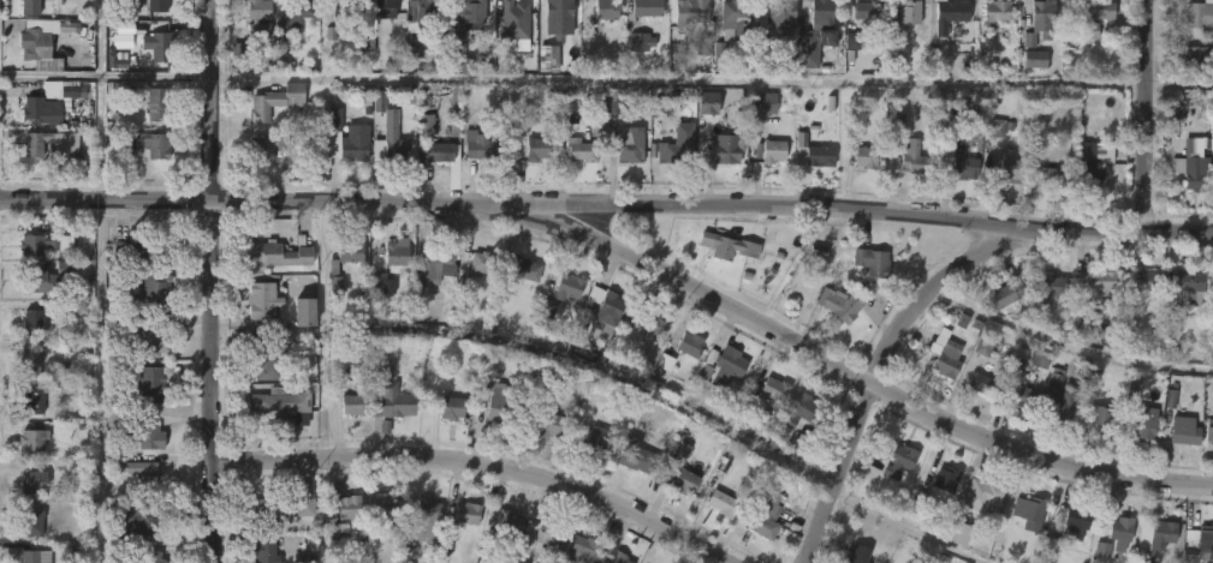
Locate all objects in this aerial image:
building: (159, 6)
building: (31, 7)
building: (648, 7)
building: (340, 8)
building: (561, 8)
building: (608, 10)
building: (295, 11)
building: (468, 11)
building: (995, 11)
building: (689, 12)
building: (424, 13)
building: (780, 13)
building: (908, 13)
building: (1201, 13)
building: (258, 14)
building: (868, 14)
building: (950, 14)
building: (1093, 17)
building: (374, 18)
building: (516, 19)
building: (733, 19)
building: (1040, 20)
building: (816, 32)
building: (329, 34)
building: (123, 36)
building: (46, 40)
building: (852, 41)
building: (641, 42)
building: (159, 46)
building: (702, 46)
building: (720, 52)
building: (1035, 59)
building: (1196, 61)
building: (785, 64)
building: (464, 65)
building: (896, 65)
road: (684, 80)
road: (1182, 83)
building: (49, 101)
building: (379, 101)
building: (614, 101)
building: (275, 102)
building: (763, 102)
building: (157, 103)
building: (707, 103)
building: (570, 112)
road: (1150, 118)
building: (426, 121)
building: (949, 122)
building: (995, 127)
building: (392, 136)
building: (345, 140)
building: (147, 144)
building: (267, 144)
building: (50, 145)
building: (628, 145)
building: (481, 146)
building: (537, 148)
building: (724, 148)
building: (1036, 148)
building: (575, 149)
building: (768, 151)
building: (440, 152)
building: (676, 152)
building: (811, 155)
building: (869, 156)
building: (911, 157)
building: (1088, 164)
building: (968, 167)
building: (1007, 167)
building: (1190, 173)
building: (1051, 175)
road: (607, 202)
building: (46, 244)
building: (726, 246)
building: (143, 248)
building: (347, 252)
building: (284, 253)
building: (396, 254)
building: (441, 254)
building: (869, 260)
building: (483, 264)
building: (525, 269)
building: (1137, 280)
building: (38, 281)
road: (216, 281)
building: (1098, 282)
building: (385, 285)
building: (1052, 286)
building: (1179, 286)
building: (154, 292)
building: (559, 293)
building: (1009, 294)
building: (260, 299)
building: (843, 305)
building: (608, 309)
building: (299, 311)
building: (649, 321)
building: (36, 323)
building: (145, 339)
building: (689, 343)
building: (985, 346)
road: (816, 354)
building: (950, 358)
building: (1040, 358)
building: (30, 359)
building: (268, 359)
road: (890, 360)
building: (665, 363)
building: (707, 365)
building: (726, 365)
building: (151, 382)
building: (985, 384)
building: (66, 388)
building: (772, 388)
building: (1018, 394)
building: (1193, 394)
building: (1056, 396)
building: (34, 401)
building: (391, 401)
building: (278, 402)
building: (352, 403)
building: (498, 403)
building: (454, 408)
building: (804, 415)
building: (1099, 415)
building: (1140, 420)
building: (552, 425)
building: (1184, 430)
building: (148, 432)
building: (1211, 435)
building: (32, 441)
building: (597, 443)
building: (634, 457)
building: (899, 460)
road: (484, 462)
building: (137, 472)
building: (81, 477)
building: (686, 481)
building: (36, 483)
building: (932, 484)
building: (305, 490)
building: (981, 493)
building: (720, 502)
building: (349, 505)
building: (280, 508)
building: (386, 508)
building: (427, 511)
building: (465, 511)
building: (1030, 513)
building: (765, 515)
building: (34, 521)
building: (1070, 522)
building: (136, 523)
building: (1120, 528)
building: (545, 532)
building: (334, 533)
building: (371, 533)
building: (501, 533)
building: (958, 533)
building: (1158, 539)
building: (1207, 543)
building: (263, 547)
building: (578, 549)
building: (1101, 550)
building: (856, 553)
building: (35, 556)
building: (149, 558)
building: (304, 558)
building: (614, 558)
building: (940, 561)

